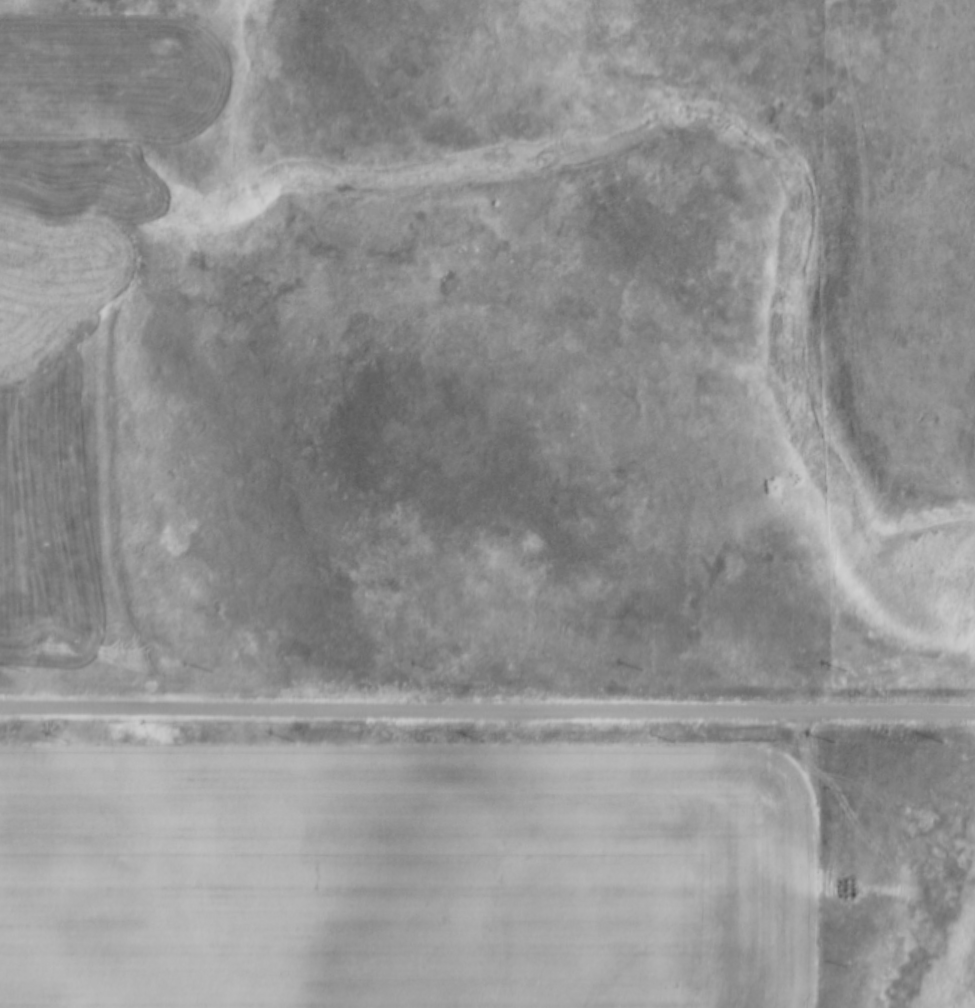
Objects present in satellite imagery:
road: (487, 708)

